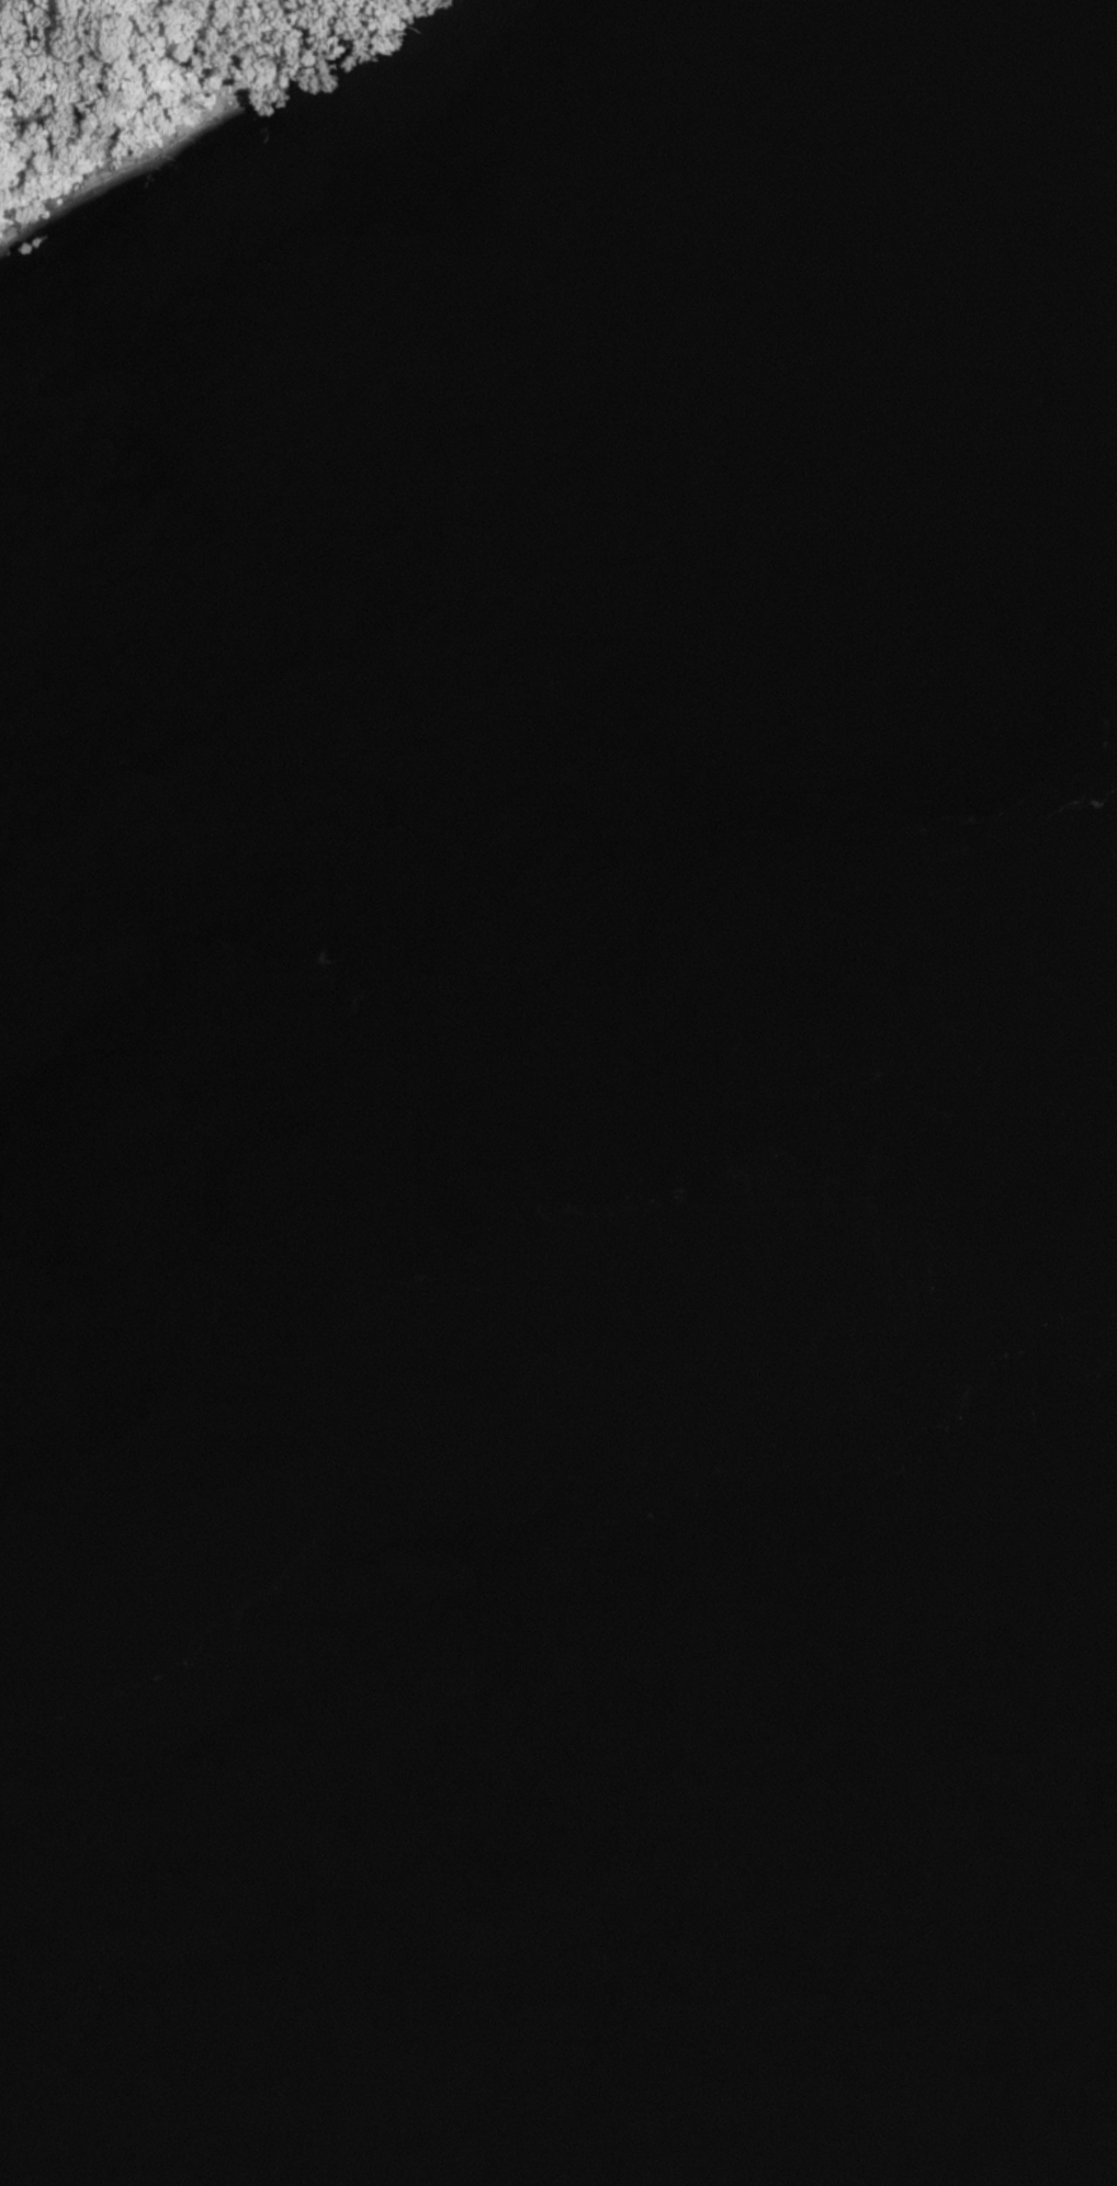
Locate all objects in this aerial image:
river: (561, 2027)

